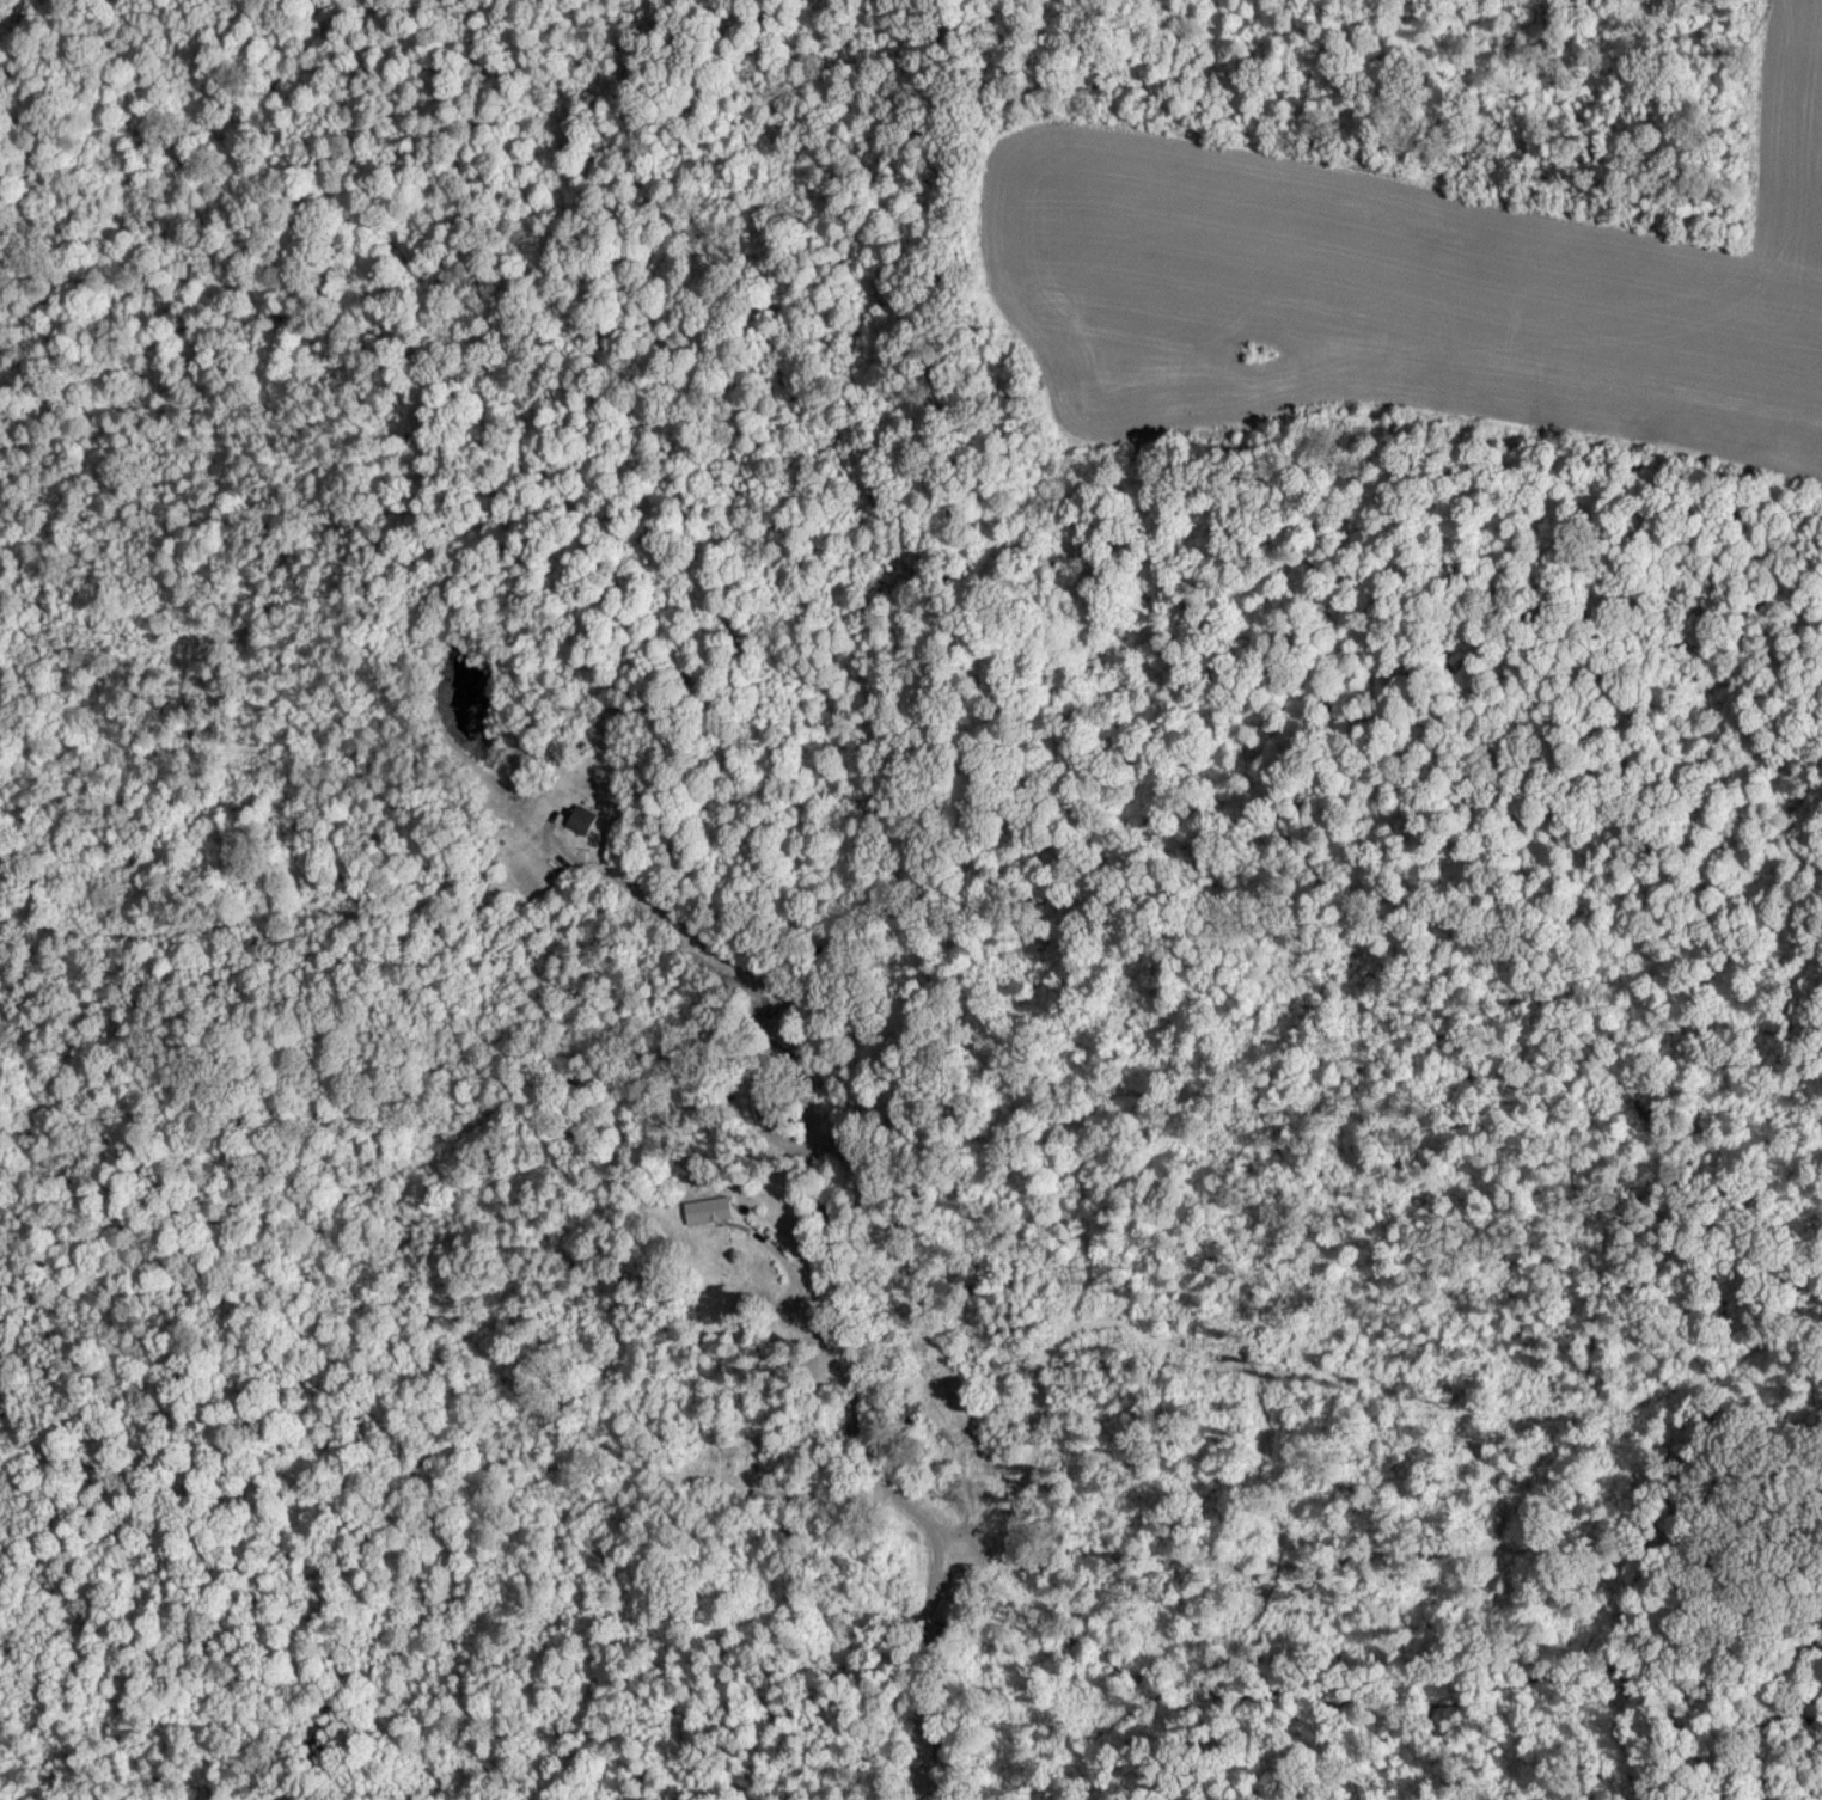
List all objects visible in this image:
building: (580, 819)
building: (705, 1208)
road: (946, 1675)

